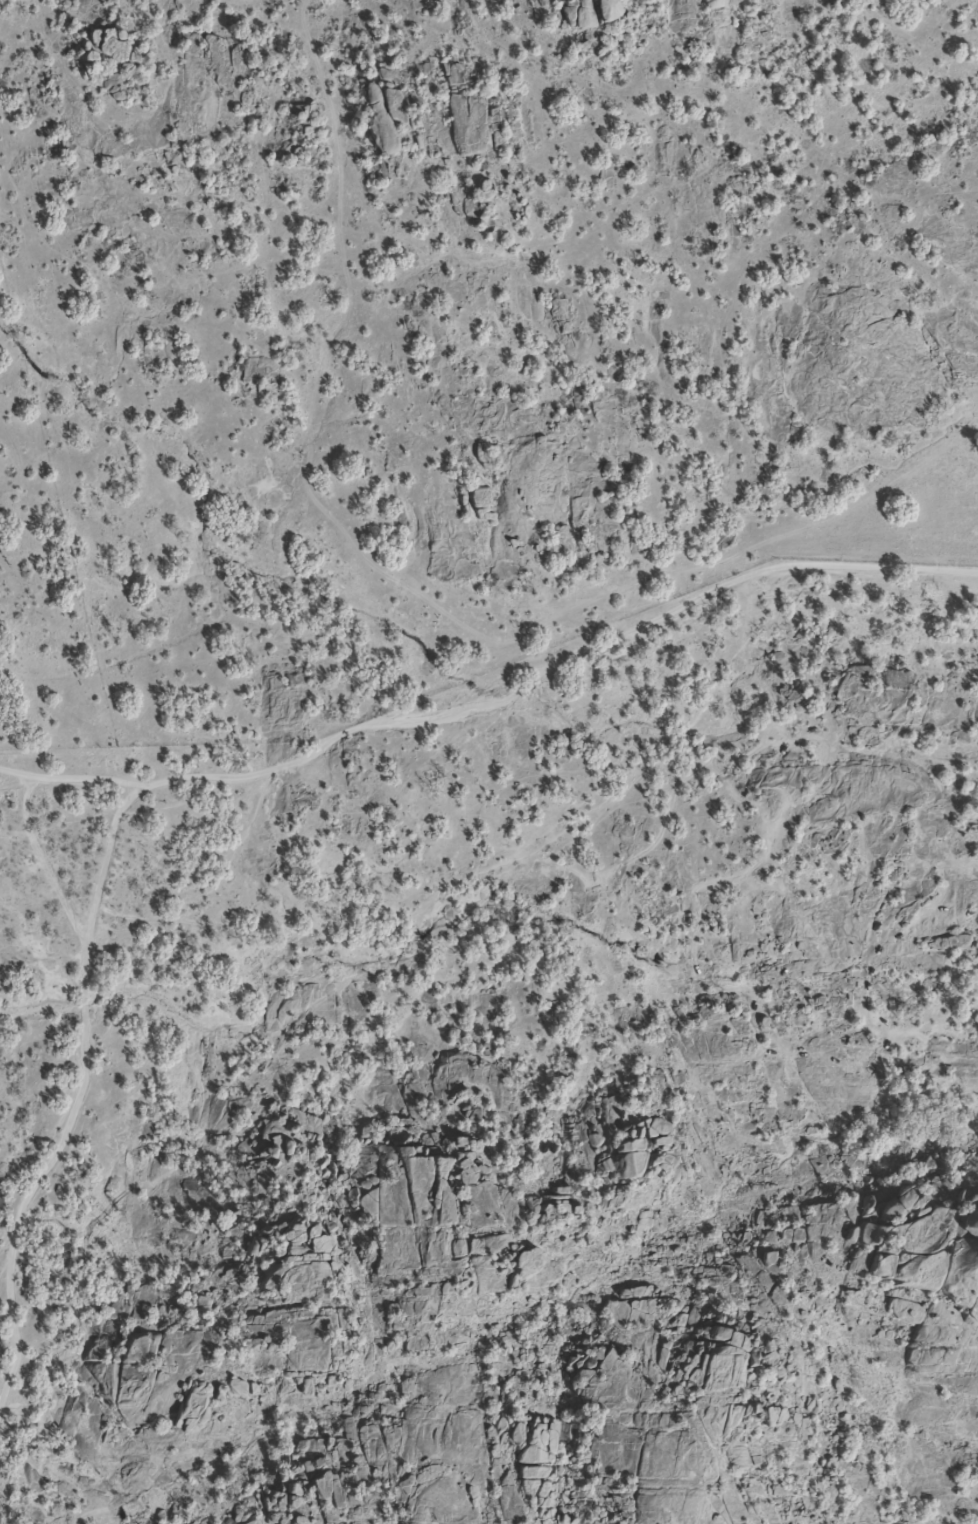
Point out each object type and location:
building: (607, 11)
building: (90, 57)
building: (370, 94)
building: (480, 498)
road: (513, 701)
road: (55, 882)
road: (82, 1094)
building: (541, 1457)

